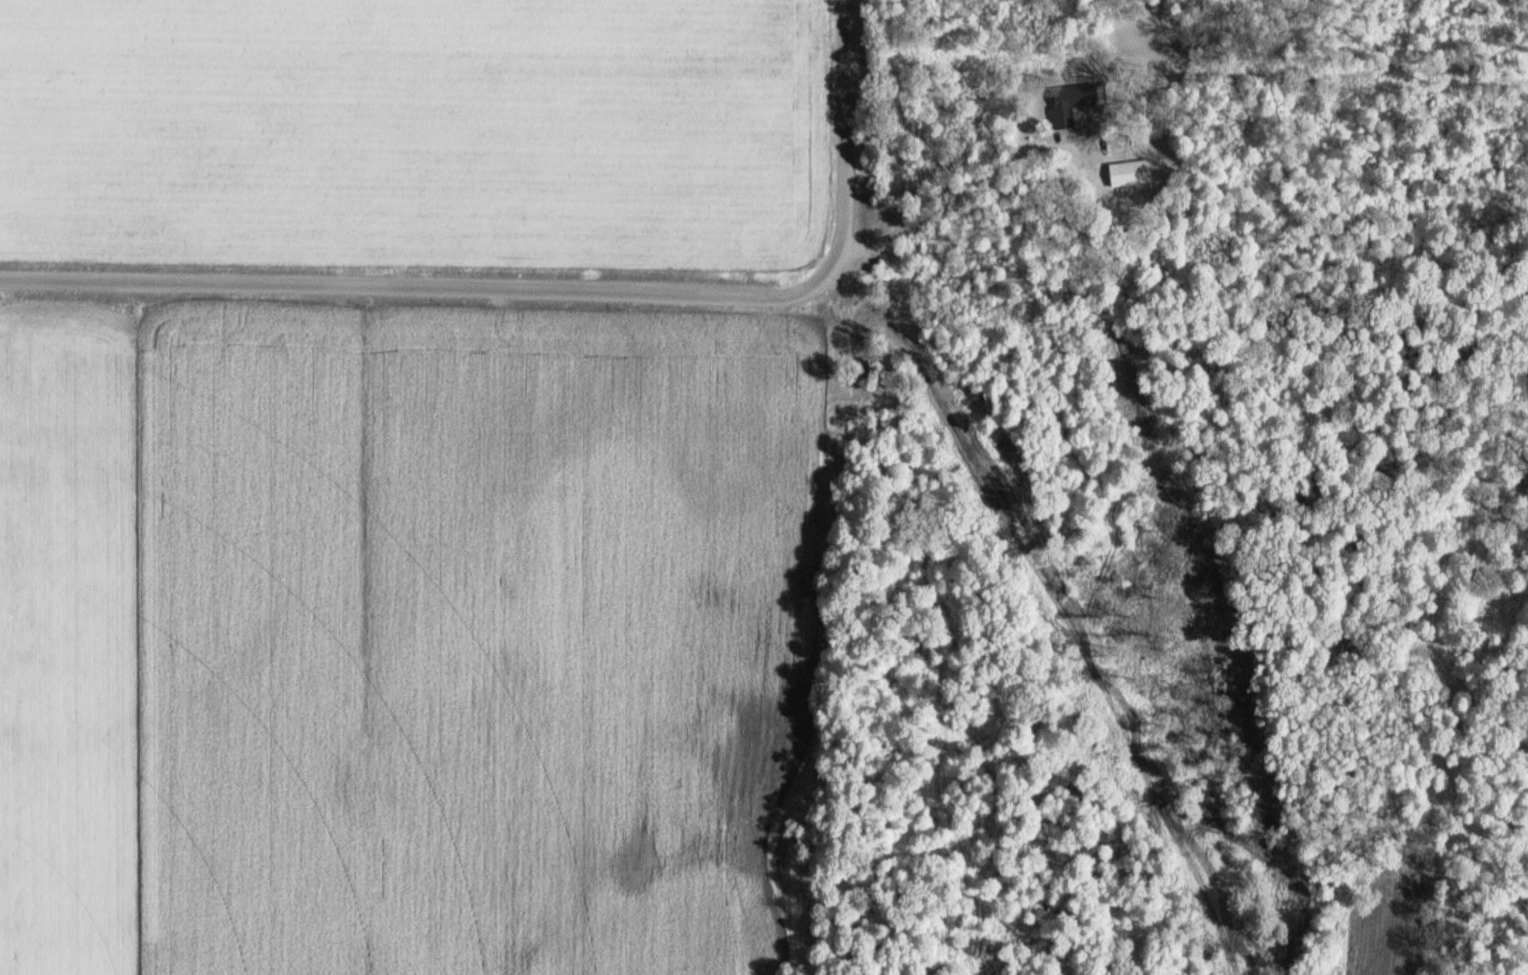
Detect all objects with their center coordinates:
building: (1071, 101)
road: (1066, 138)
road: (843, 141)
building: (1115, 141)
building: (1130, 171)
road: (983, 177)
road: (415, 289)
road: (1060, 606)

